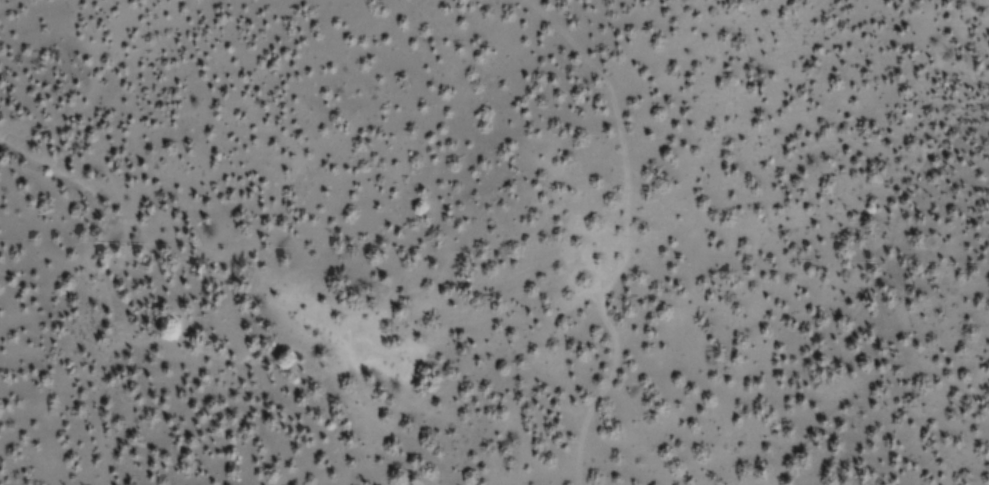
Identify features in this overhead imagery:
road: (569, 415)

